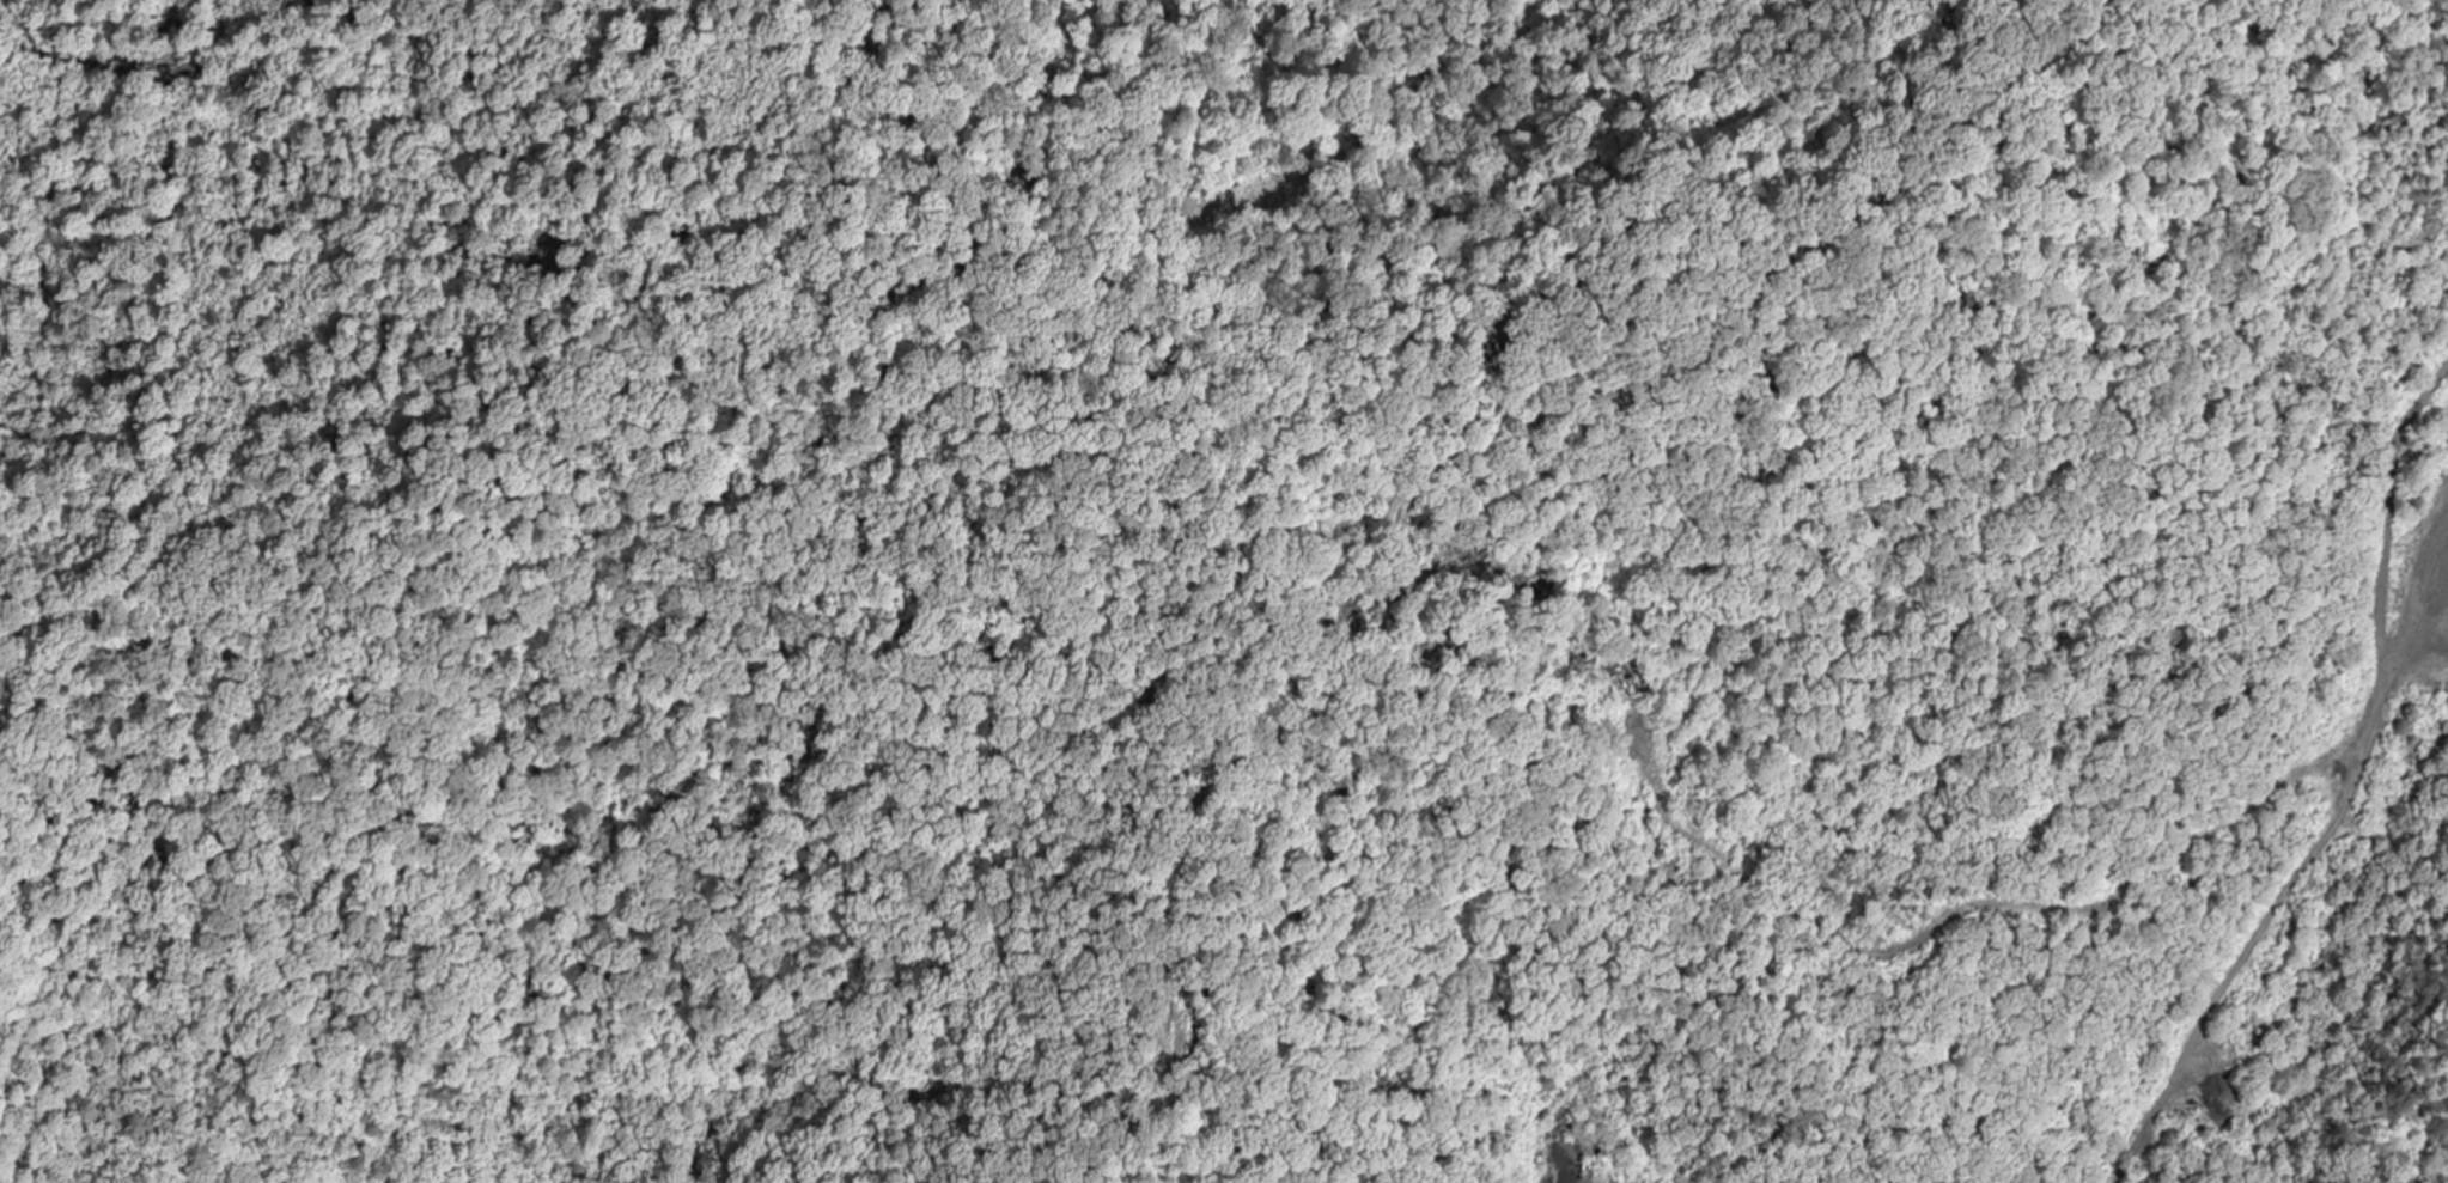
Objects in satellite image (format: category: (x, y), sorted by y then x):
road: (2167, 1167)

